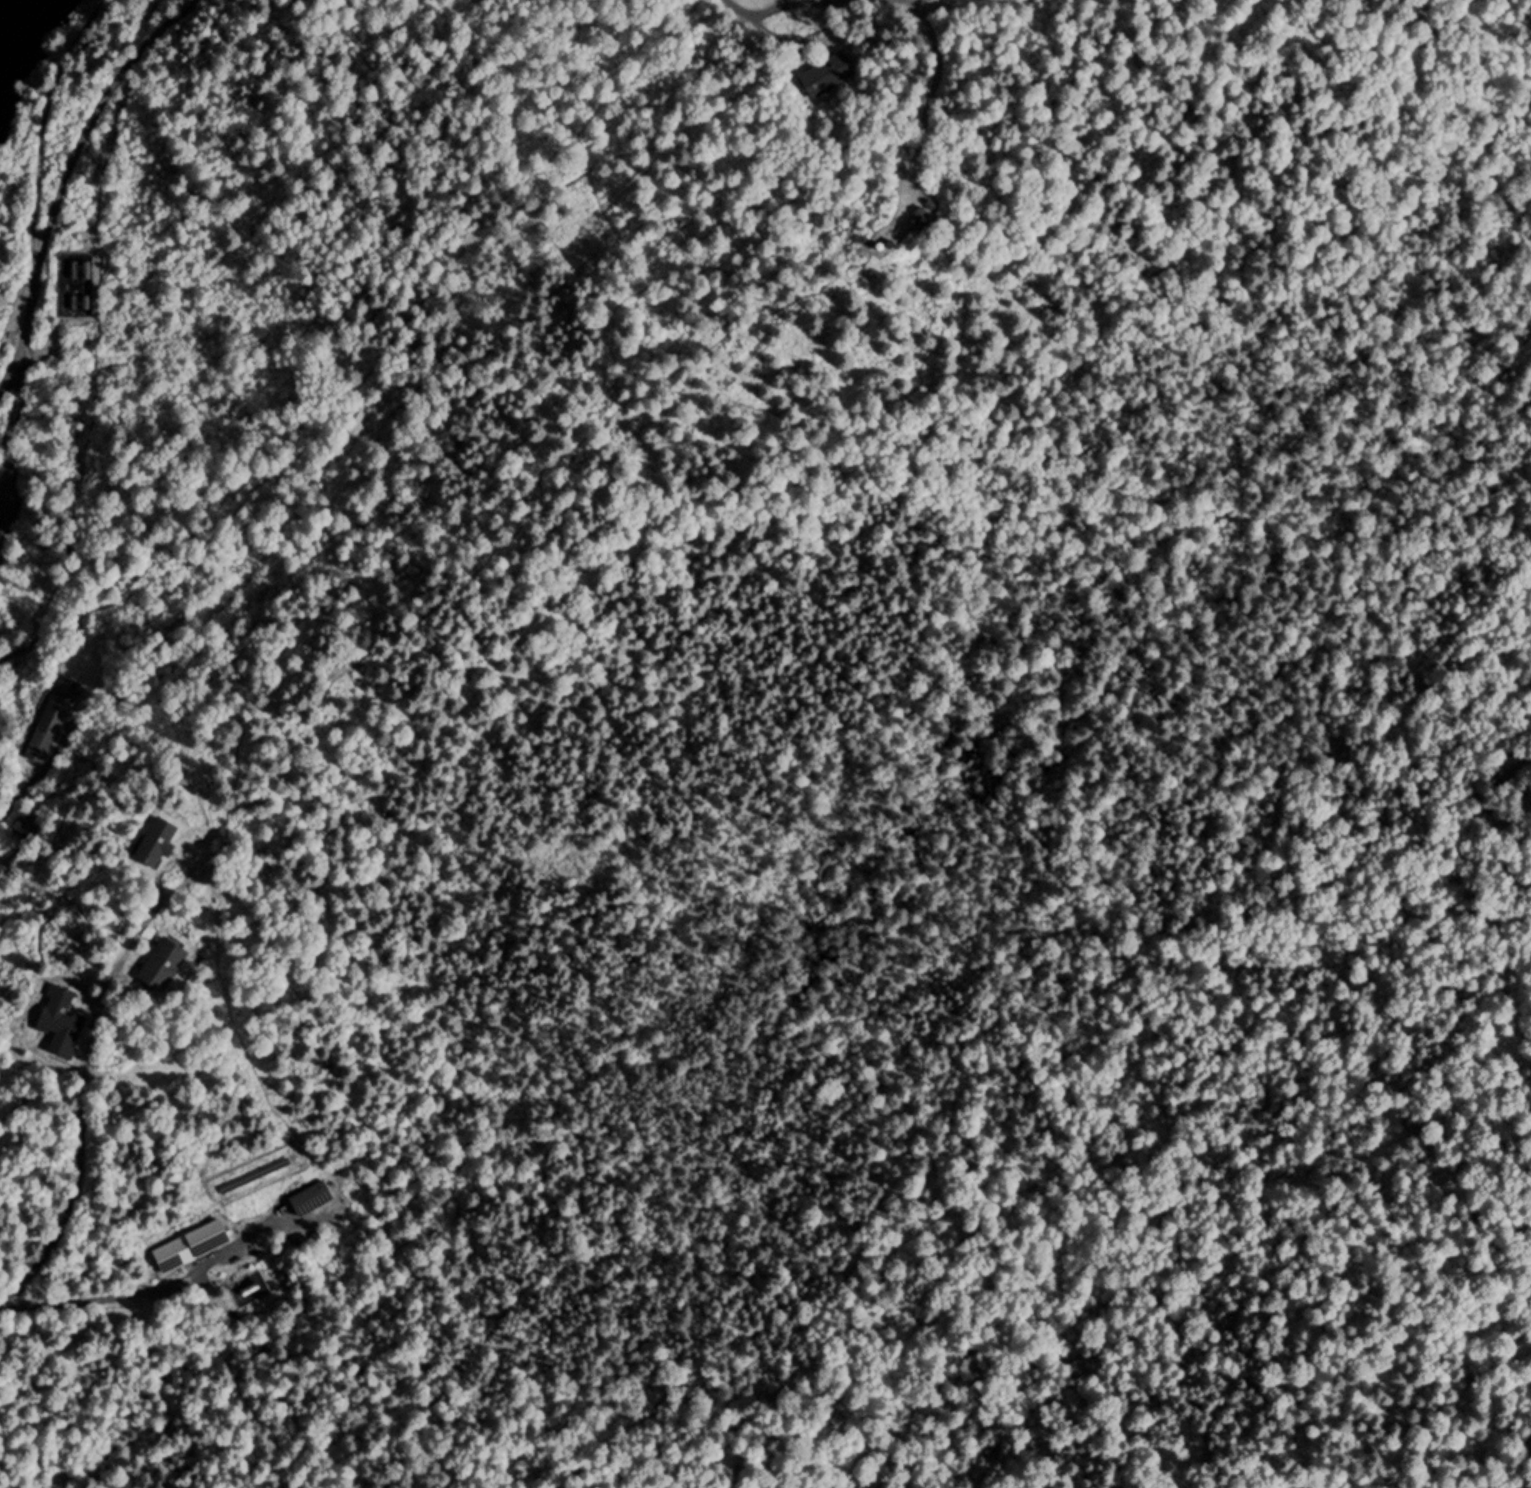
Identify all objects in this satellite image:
road: (815, 15)
building: (829, 71)
road: (924, 113)
road: (51, 122)
road: (65, 175)
building: (895, 245)
storage tank: (895, 245)
building: (883, 246)
storage tank: (883, 246)
building: (75, 269)
storage tank: (75, 269)
building: (88, 269)
storage tank: (88, 269)
building: (76, 300)
storage tank: (76, 300)
building: (87, 301)
storage tank: (87, 301)
road: (314, 313)
building: (53, 717)
road: (13, 799)
building: (22, 830)
building: (158, 839)
building: (164, 962)
road: (862, 987)
building: (63, 1019)
road: (82, 1101)
building: (314, 1196)
building: (194, 1244)
road: (160, 1286)
building: (251, 1288)
storage tank: (251, 1288)

